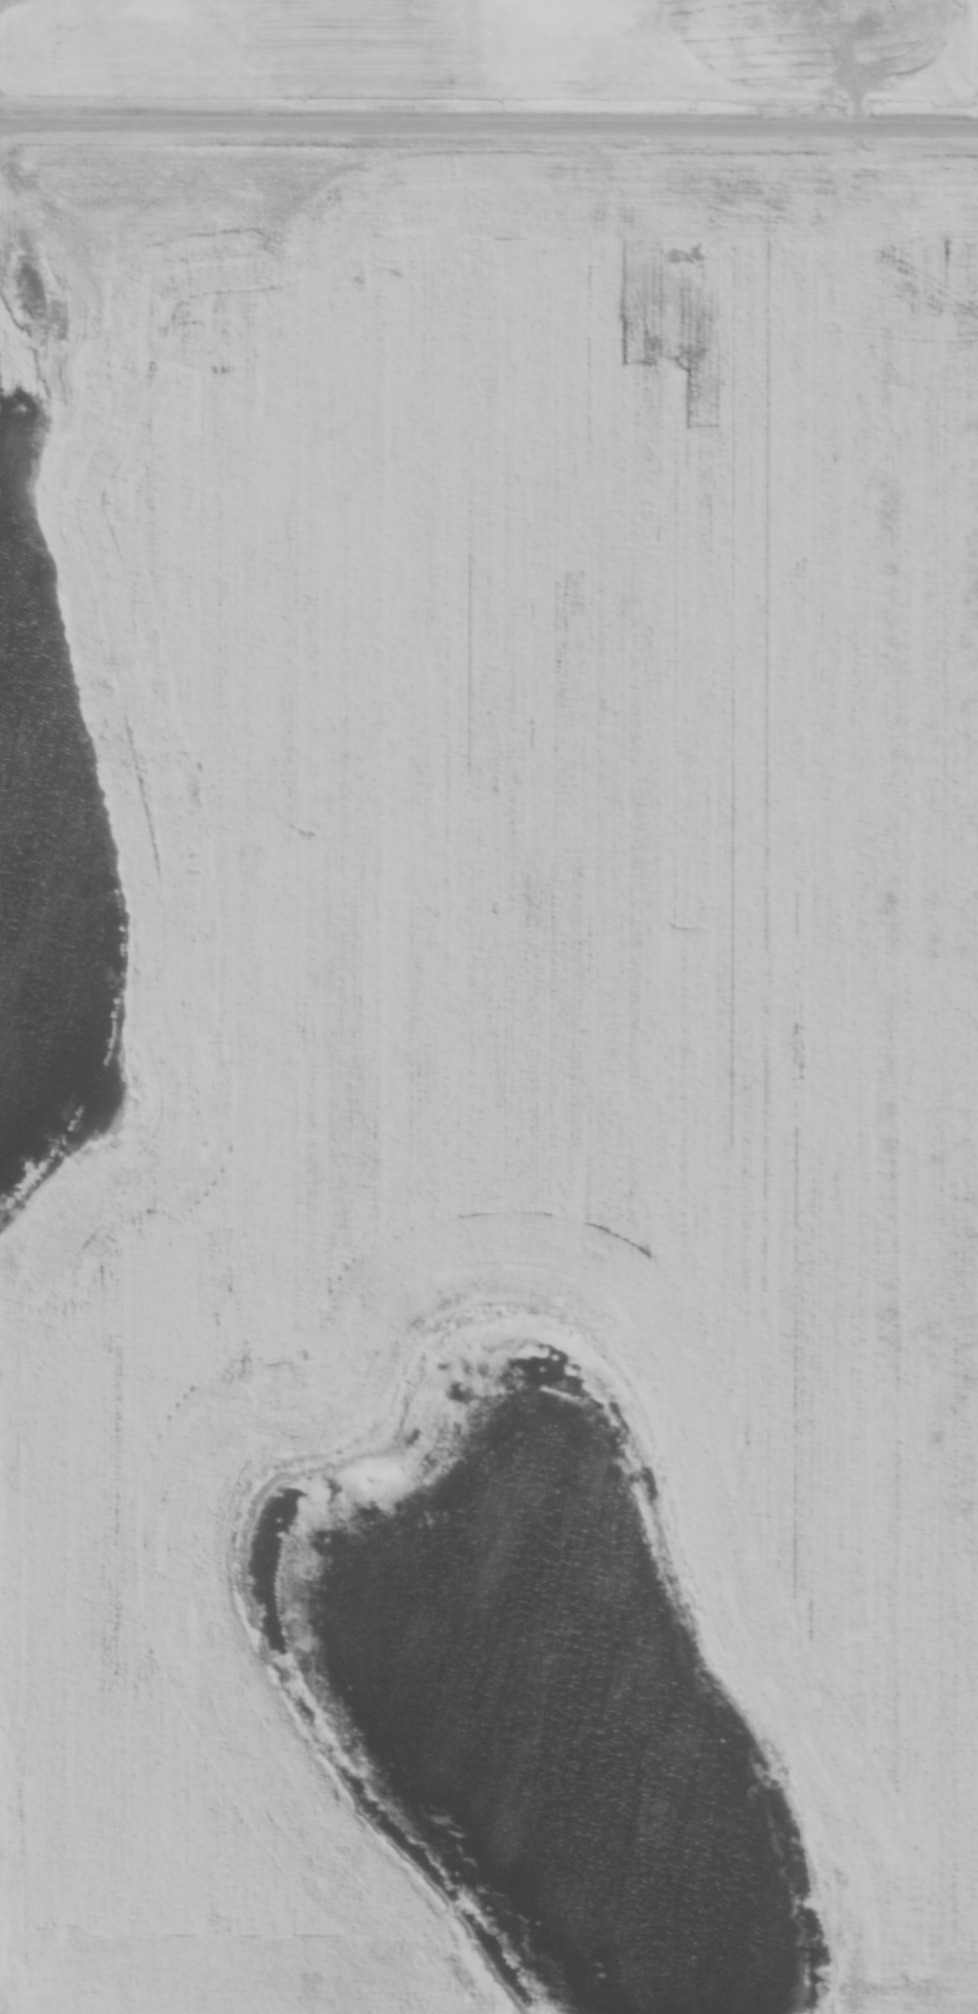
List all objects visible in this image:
road: (489, 126)

